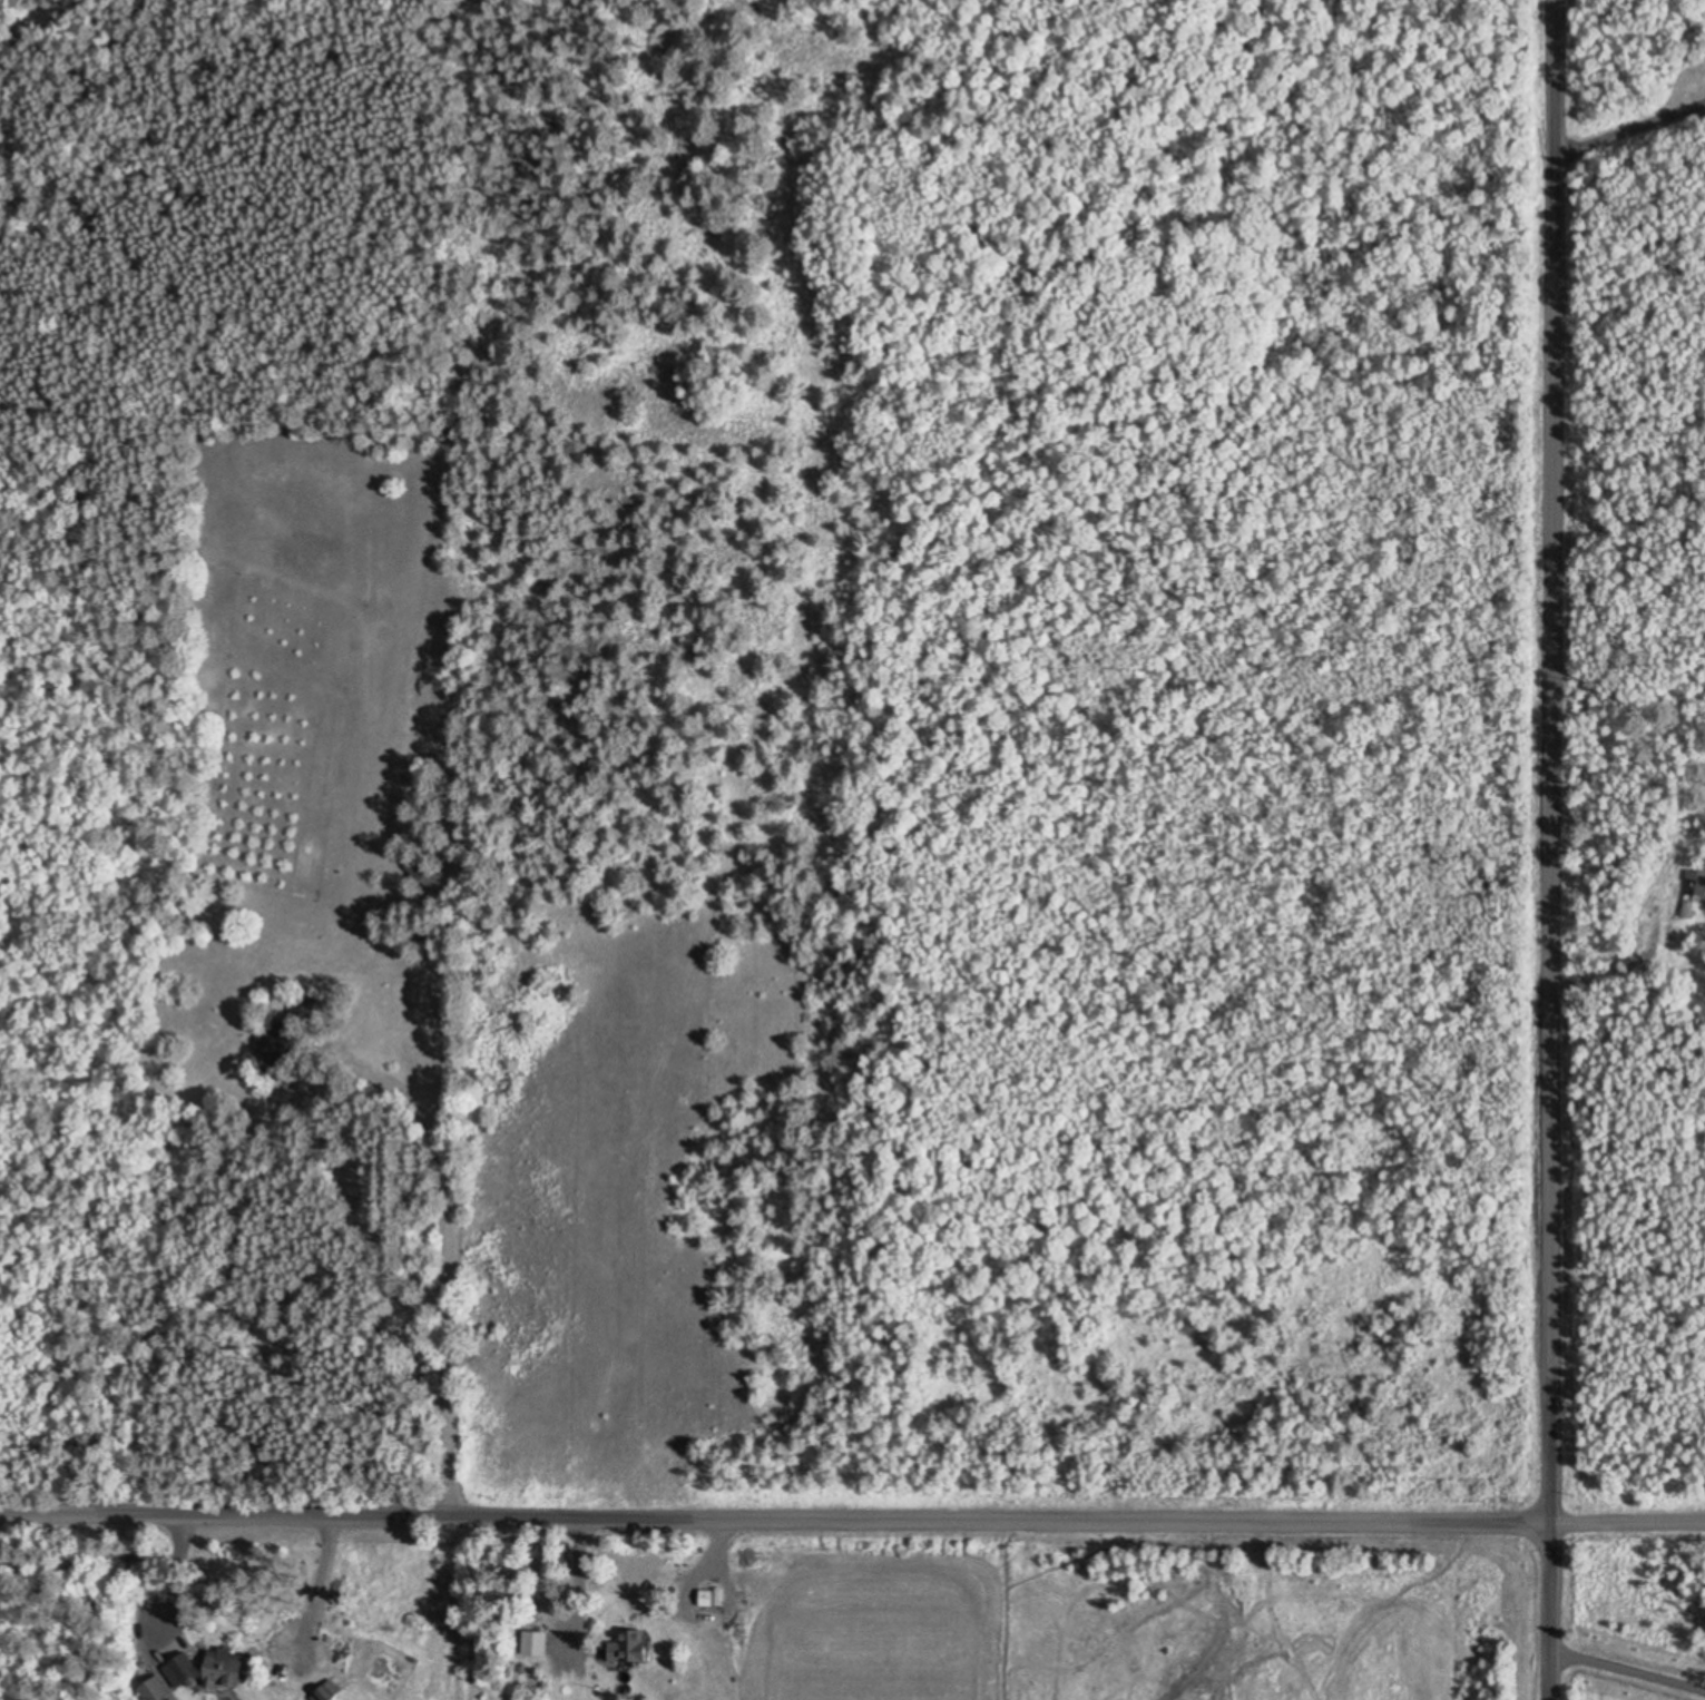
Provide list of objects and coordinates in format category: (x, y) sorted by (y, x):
road: (1548, 761)
building: (425, 875)
building: (1694, 887)
building: (304, 1006)
building: (278, 1046)
road: (344, 1113)
road: (852, 1520)
building: (752, 1570)
building: (708, 1598)
road: (1550, 1611)
building: (535, 1641)
building: (630, 1645)
building: (207, 1668)
building: (158, 1689)
building: (327, 1690)

